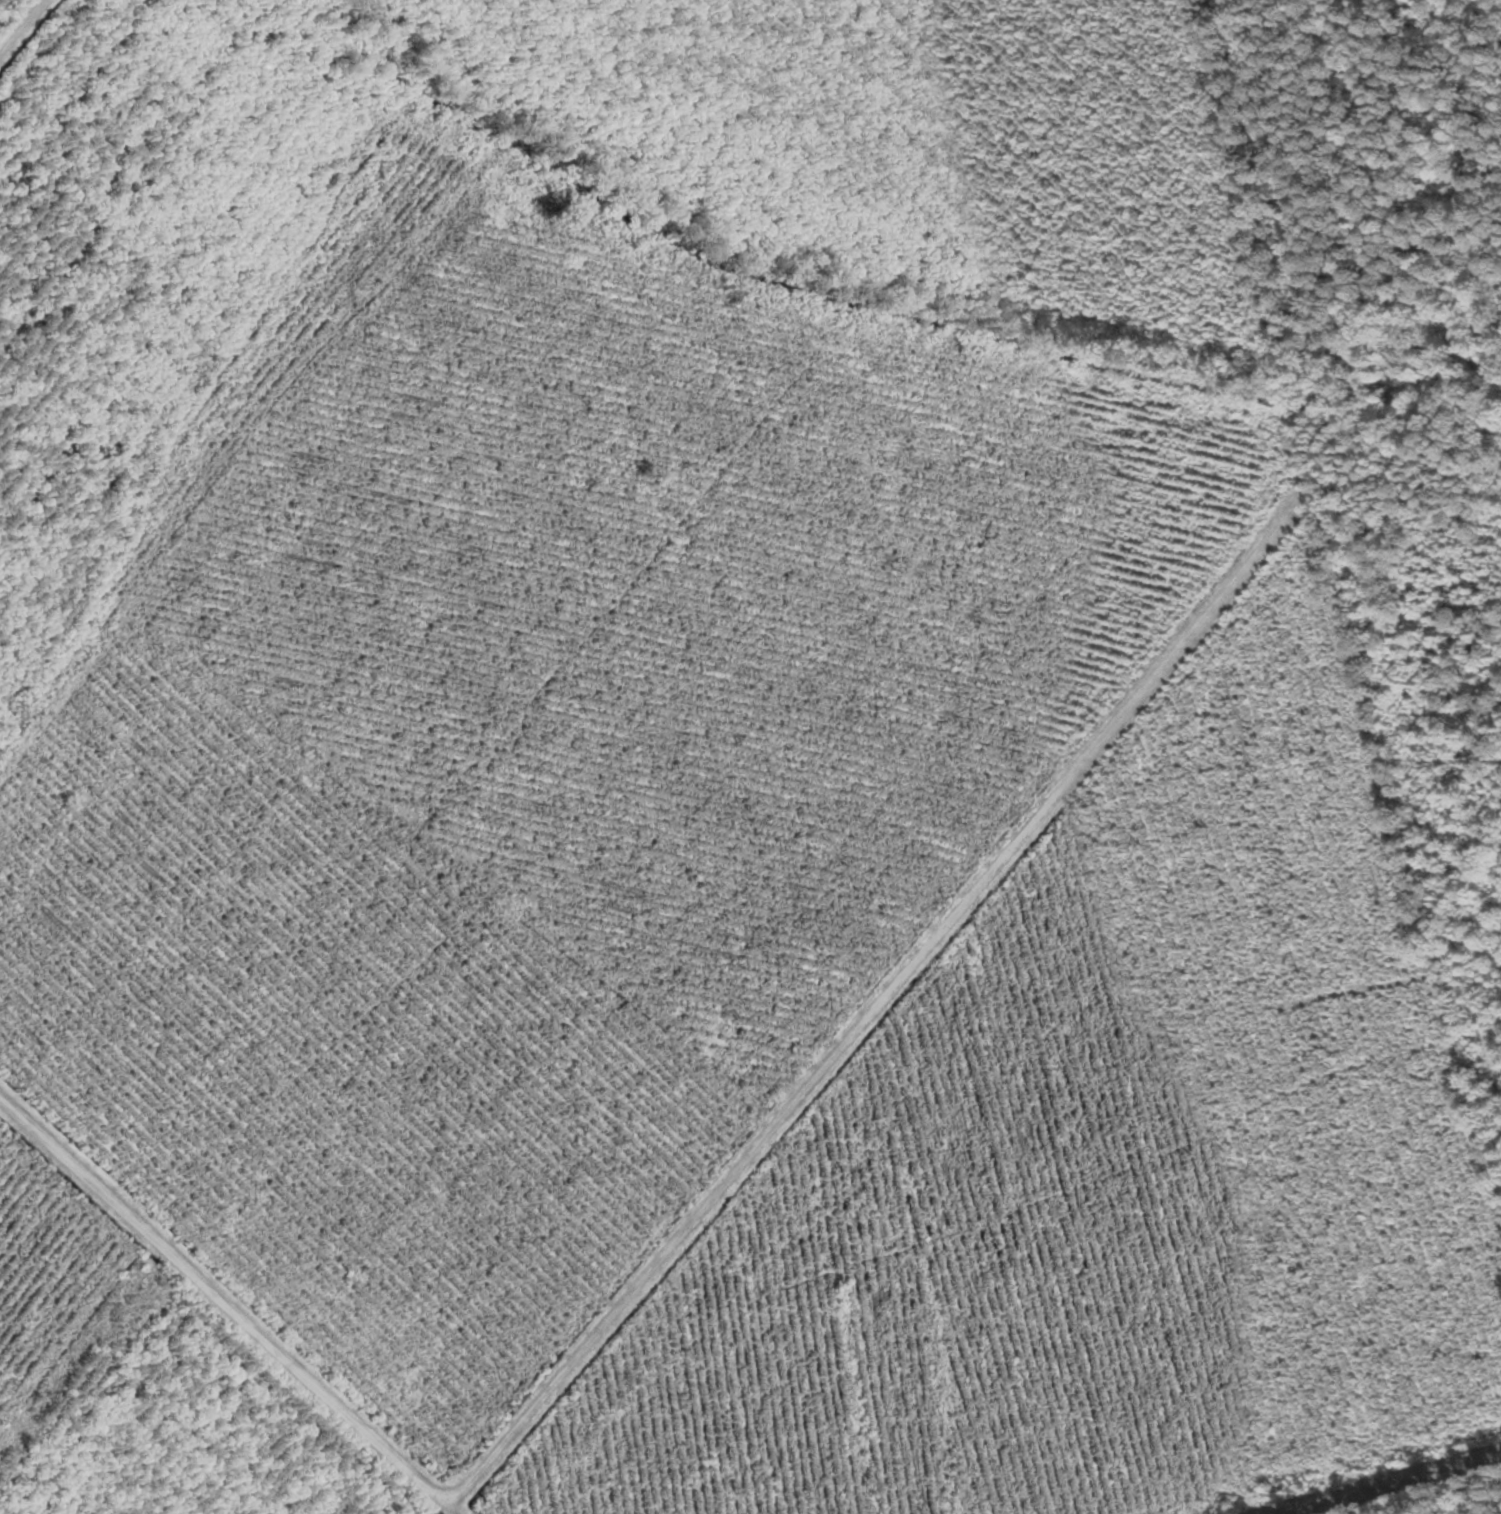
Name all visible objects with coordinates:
road: (26, 34)
road: (210, 1322)

